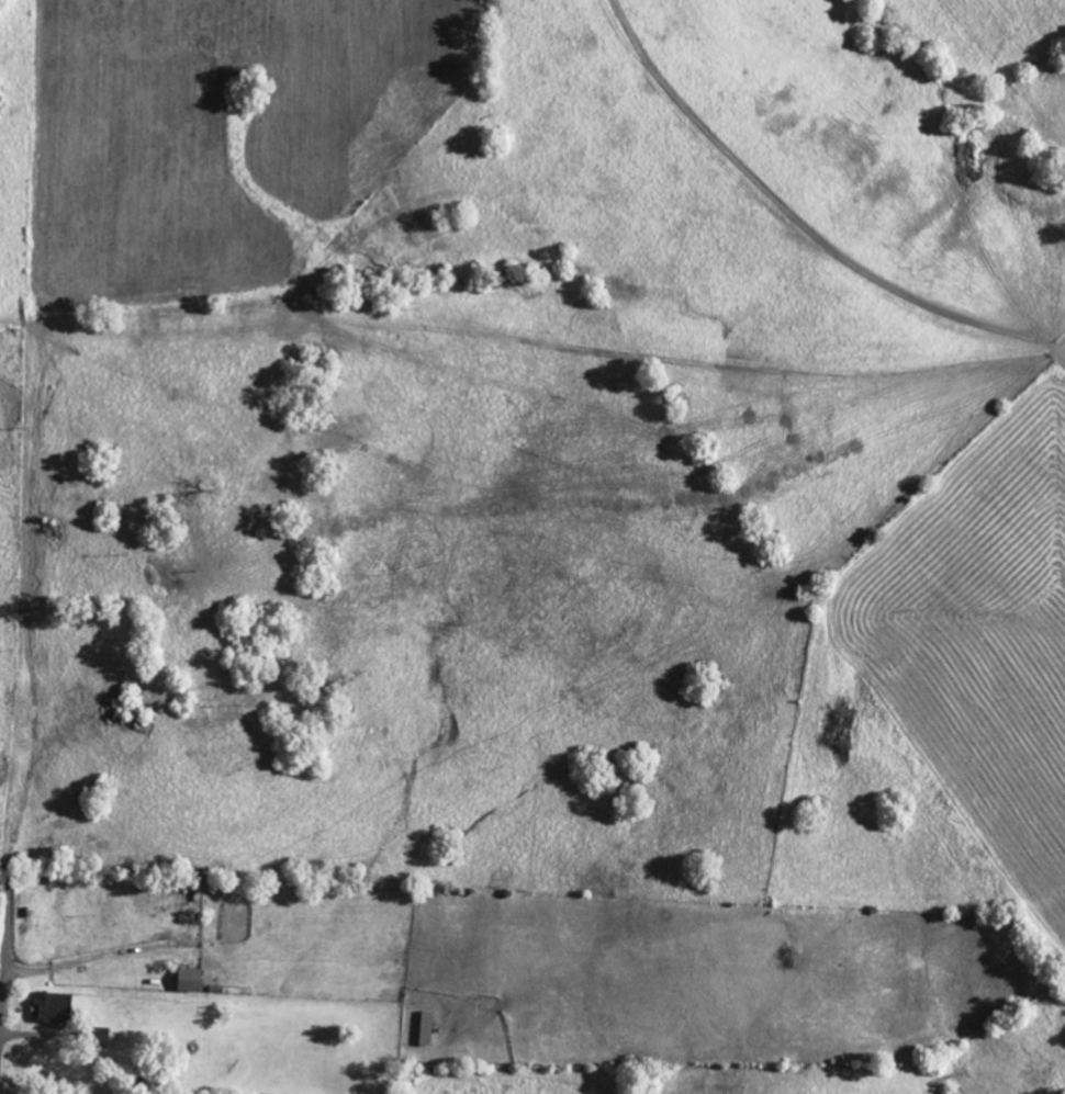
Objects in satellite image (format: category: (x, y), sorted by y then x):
road: (7, 970)
building: (188, 978)
building: (51, 1006)
building: (98, 1035)

